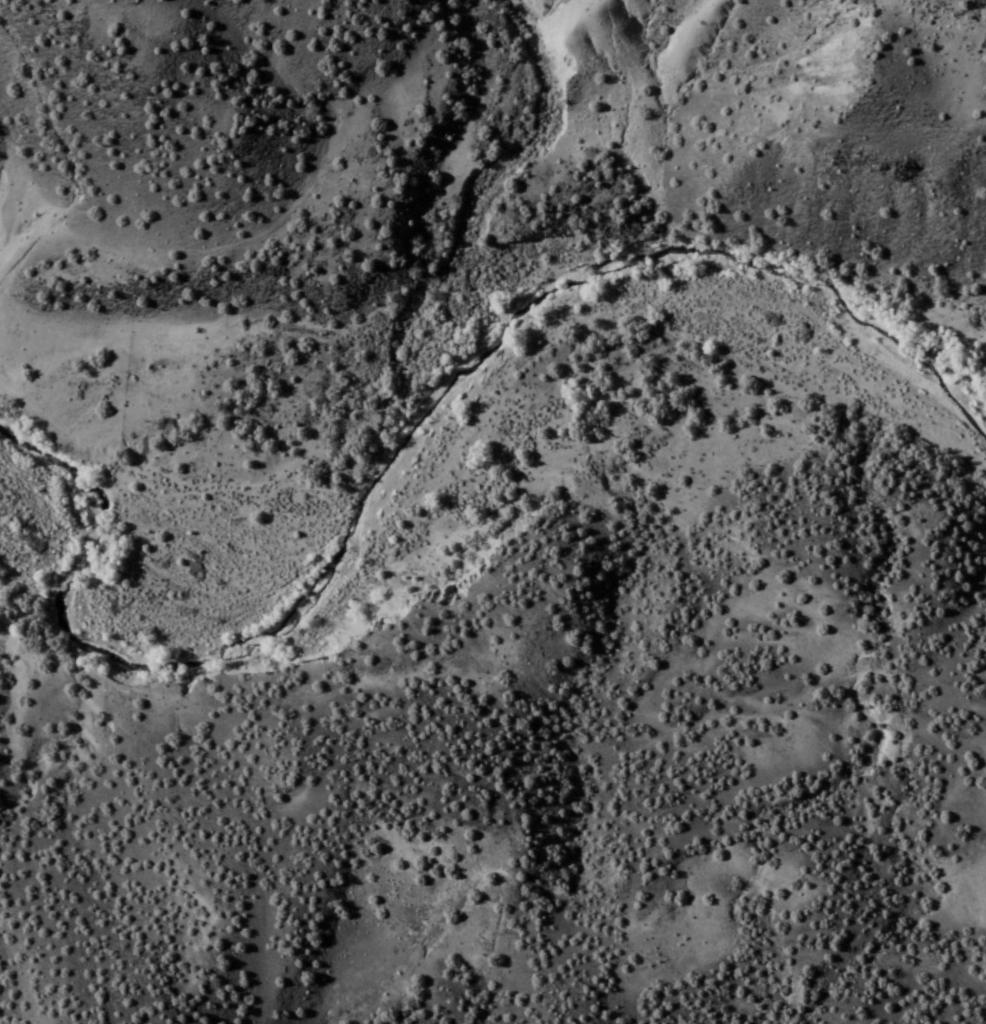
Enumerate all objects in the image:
road: (15, 139)
river: (459, 403)

